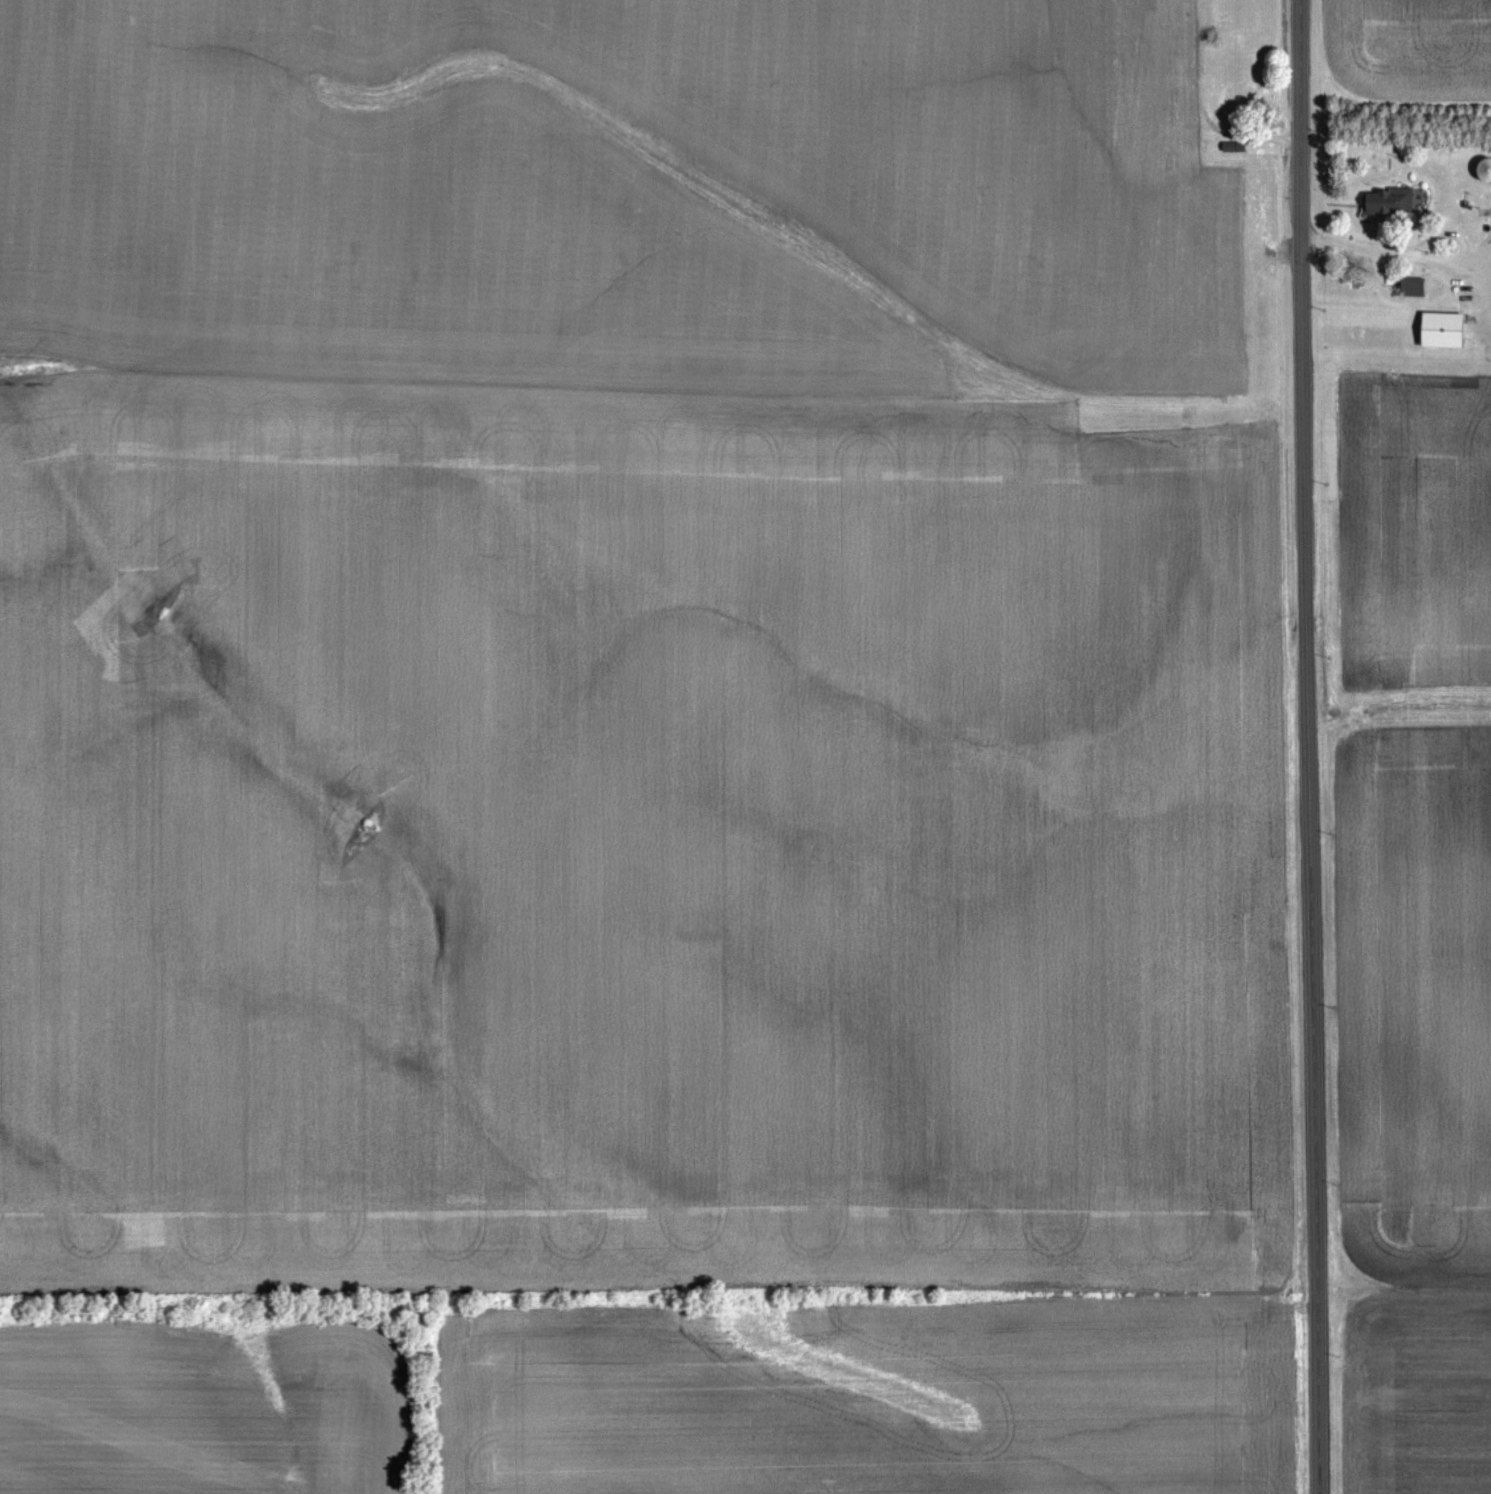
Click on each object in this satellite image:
building: (1393, 203)
building: (1418, 289)
building: (1449, 332)
road: (1306, 747)

